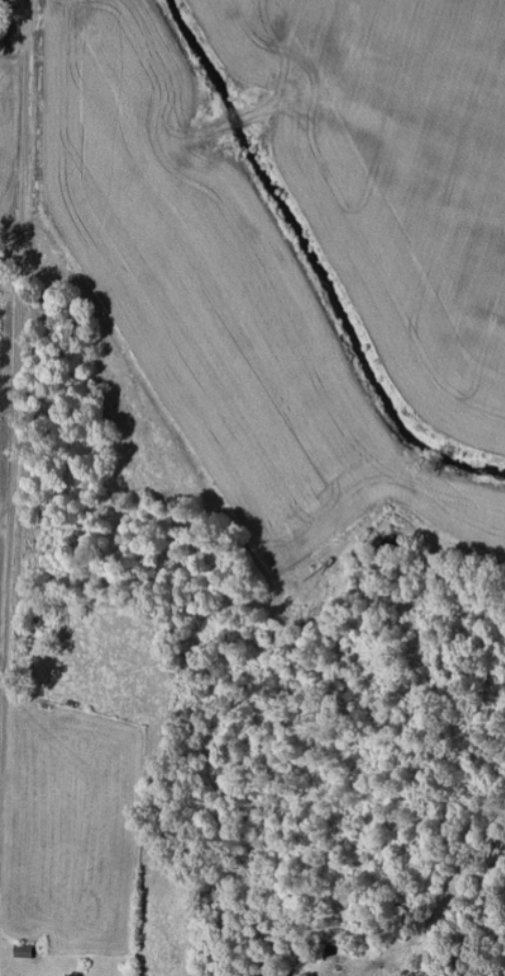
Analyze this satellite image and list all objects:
road: (8, 190)

